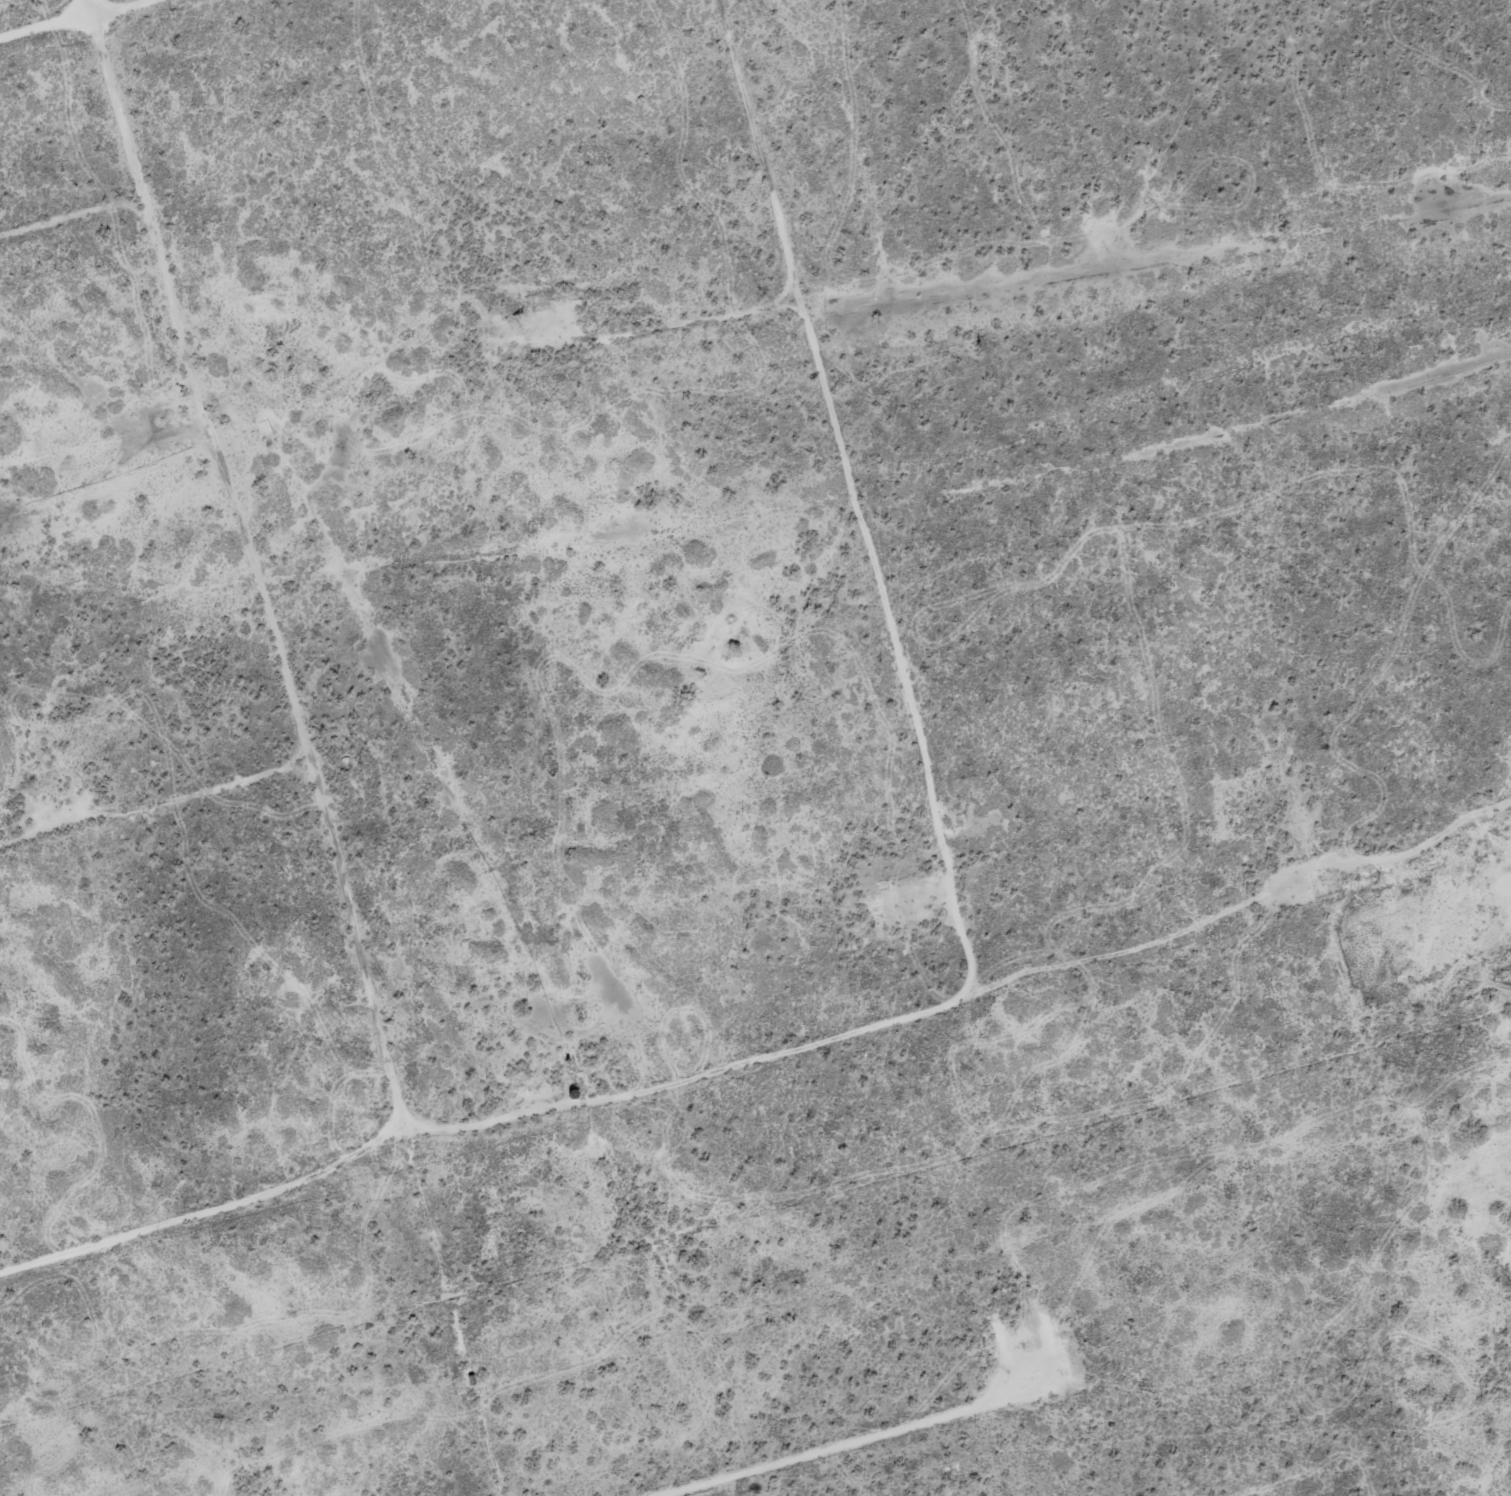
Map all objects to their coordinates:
road: (76, 18)
road: (74, 214)
road: (802, 300)
road: (310, 744)
road: (157, 803)
road: (1404, 858)
road: (741, 1059)
road: (219, 1209)
road: (860, 1439)

